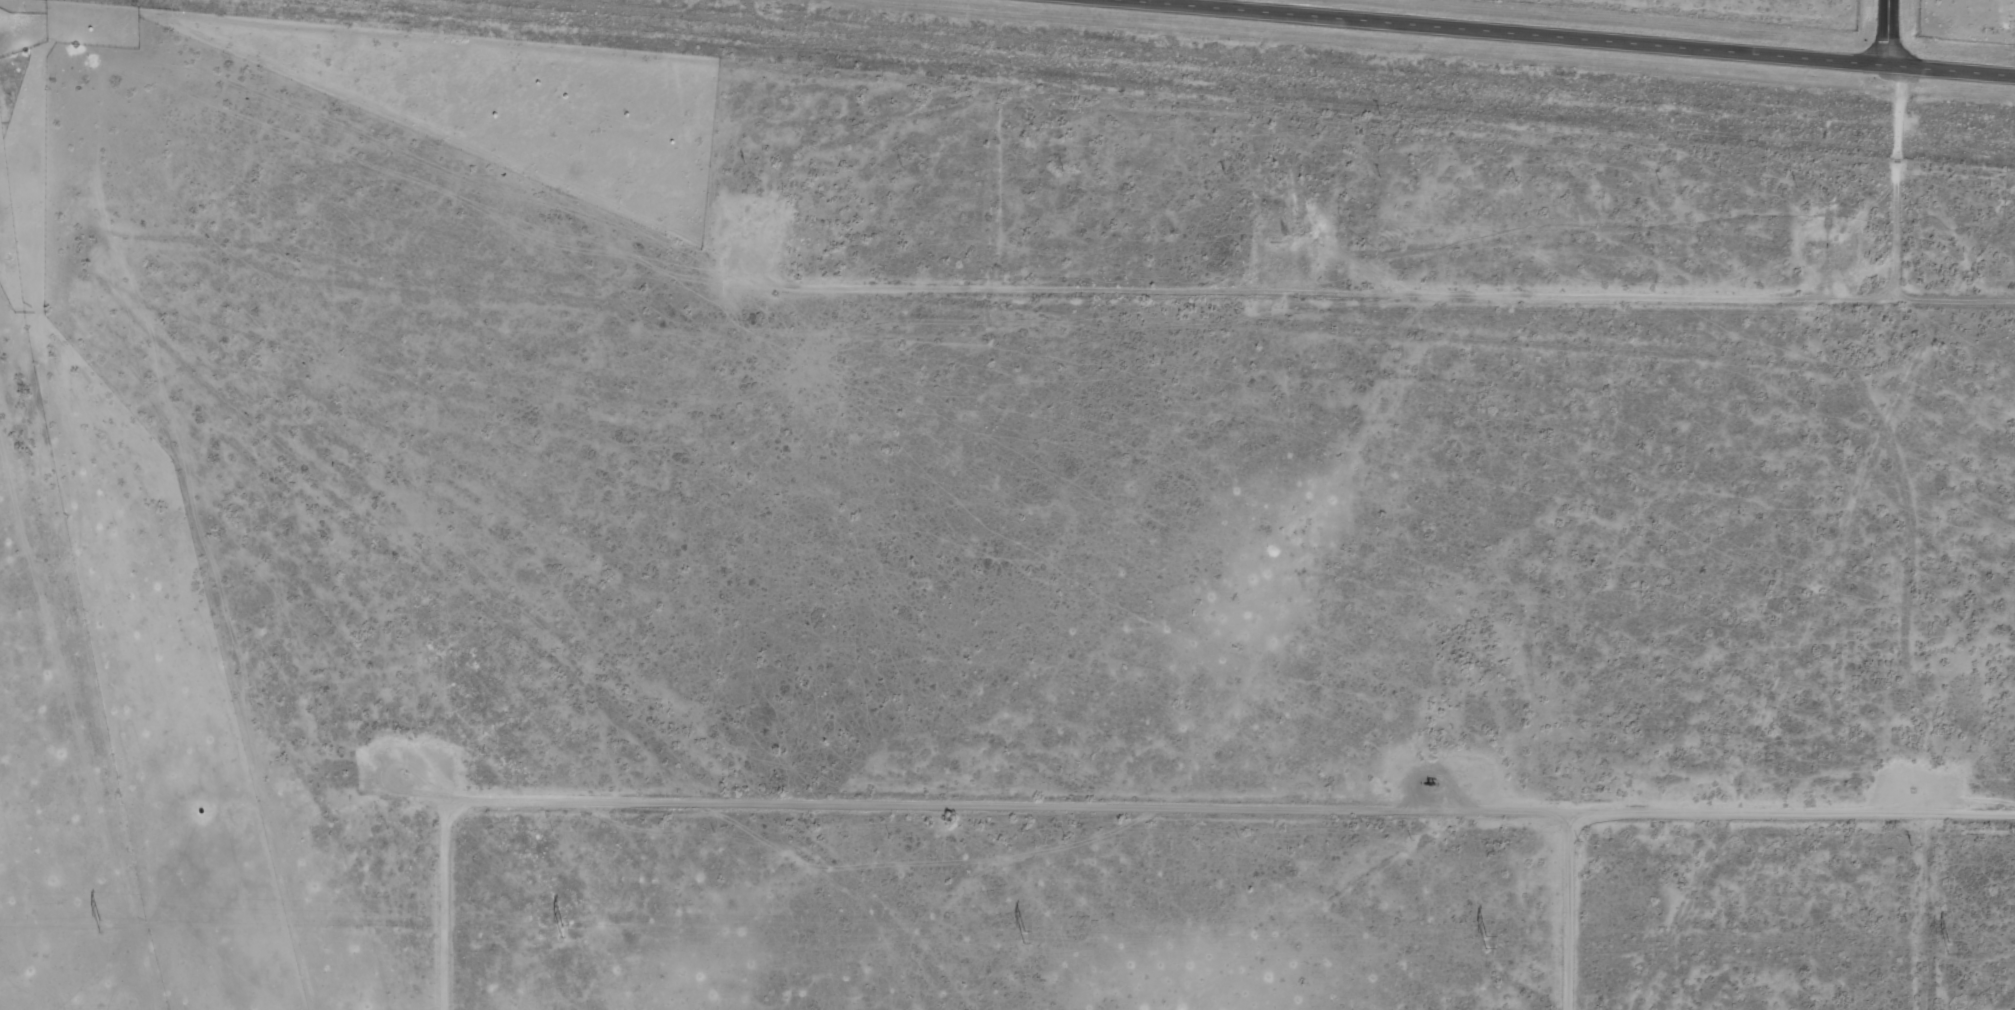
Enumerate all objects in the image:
road: (1889, 32)
road: (1587, 38)
road: (1012, 327)
road: (1159, 820)
road: (1939, 916)
power tower: (100, 924)
power tower: (561, 929)
power tower: (1023, 936)
power tower: (1485, 940)
power tower: (1948, 944)

